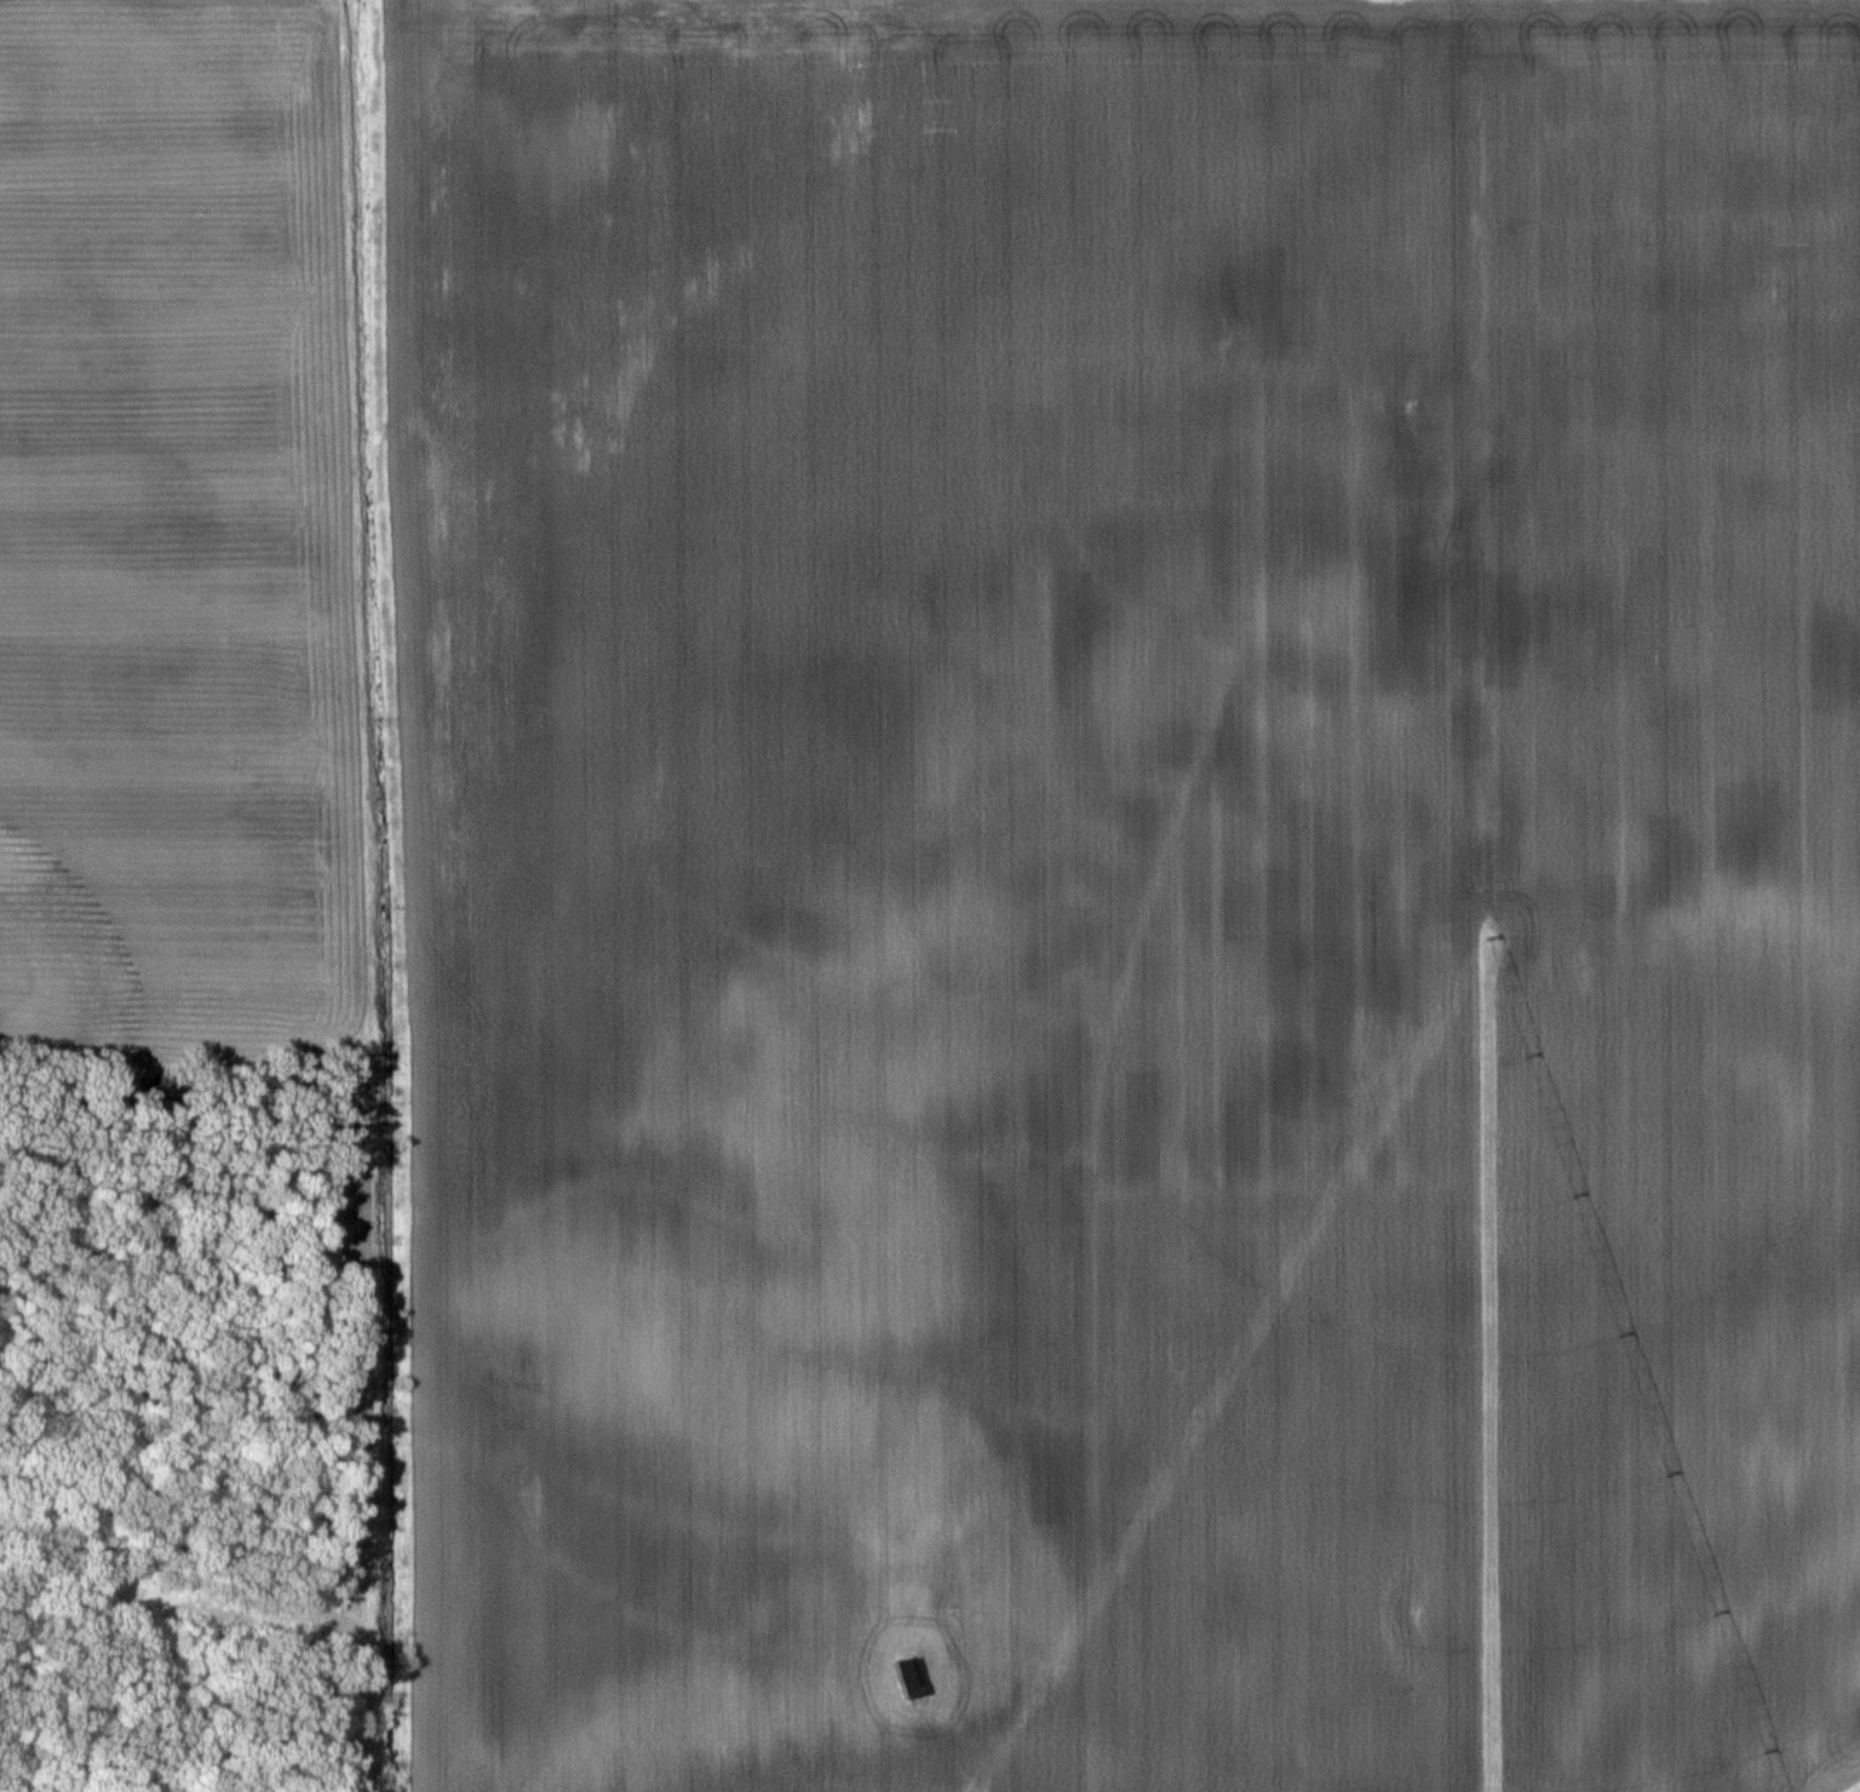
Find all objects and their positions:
building: (912, 1678)

